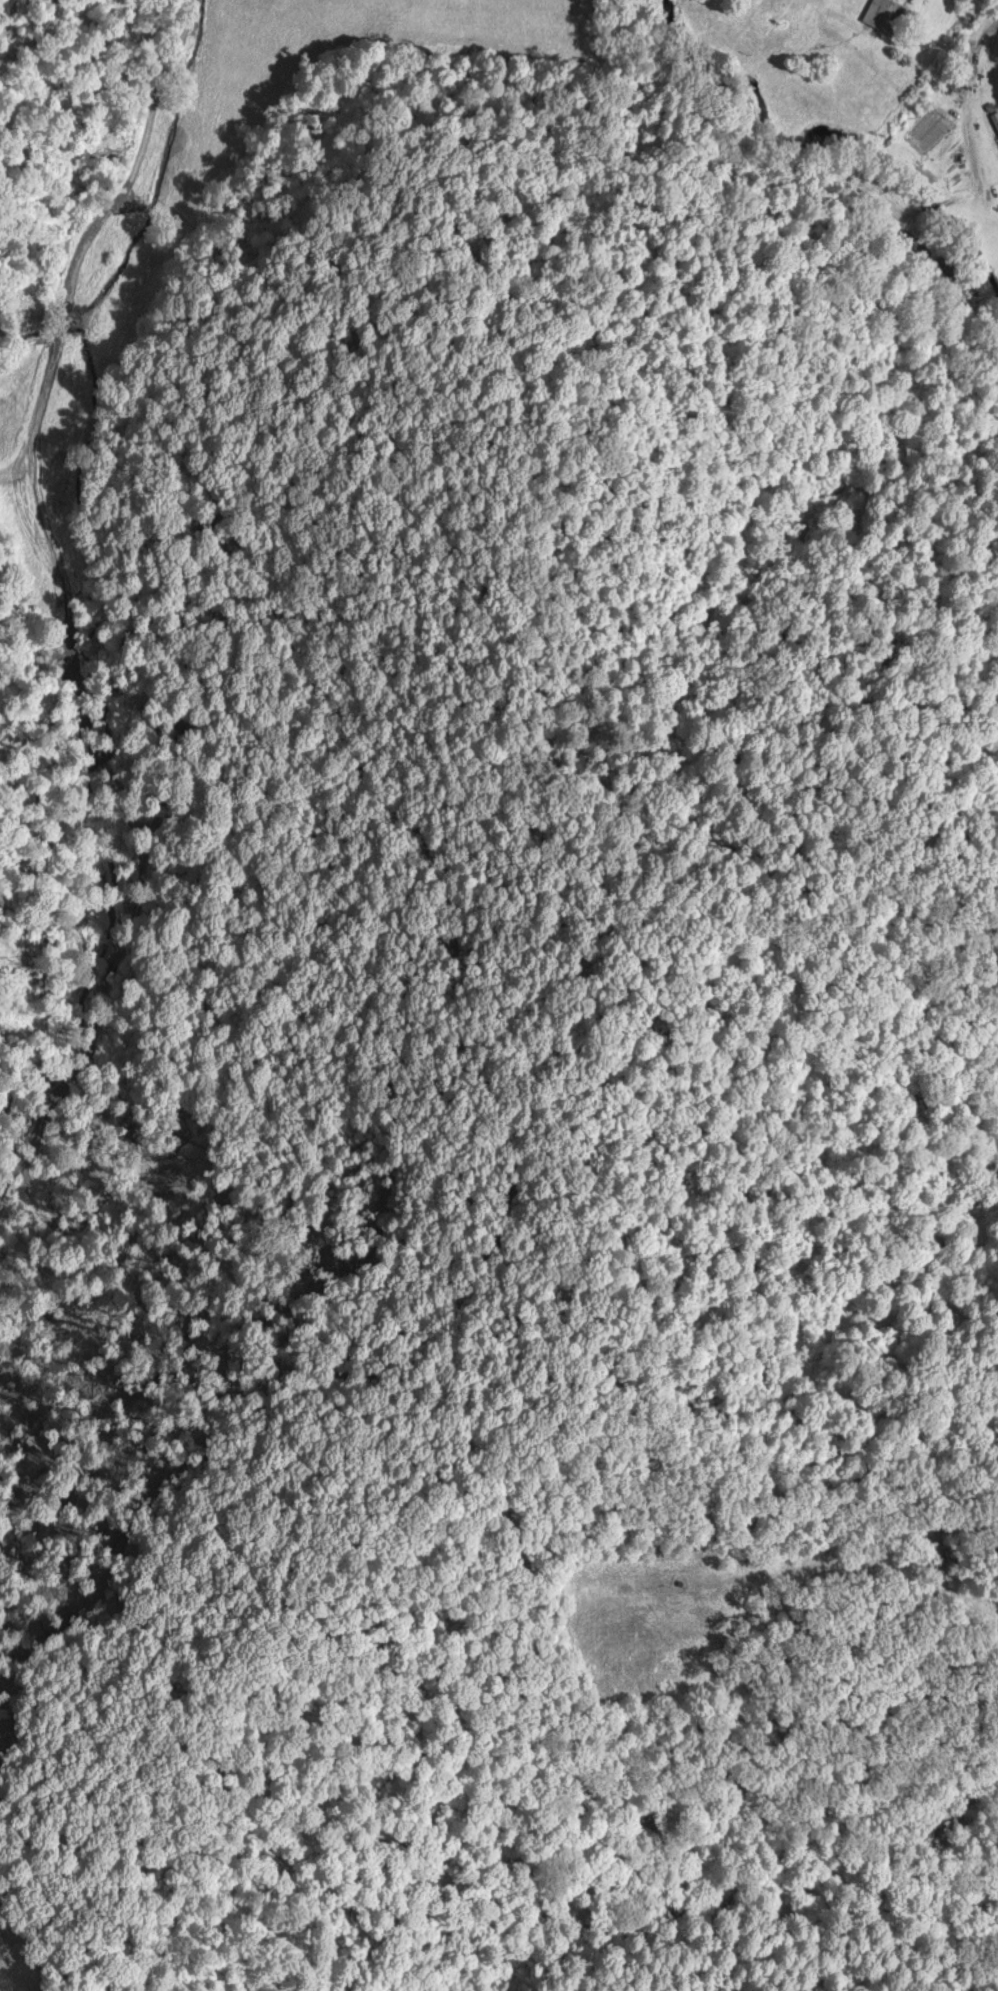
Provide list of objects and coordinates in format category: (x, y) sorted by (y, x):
building: (889, 14)
building: (996, 116)

